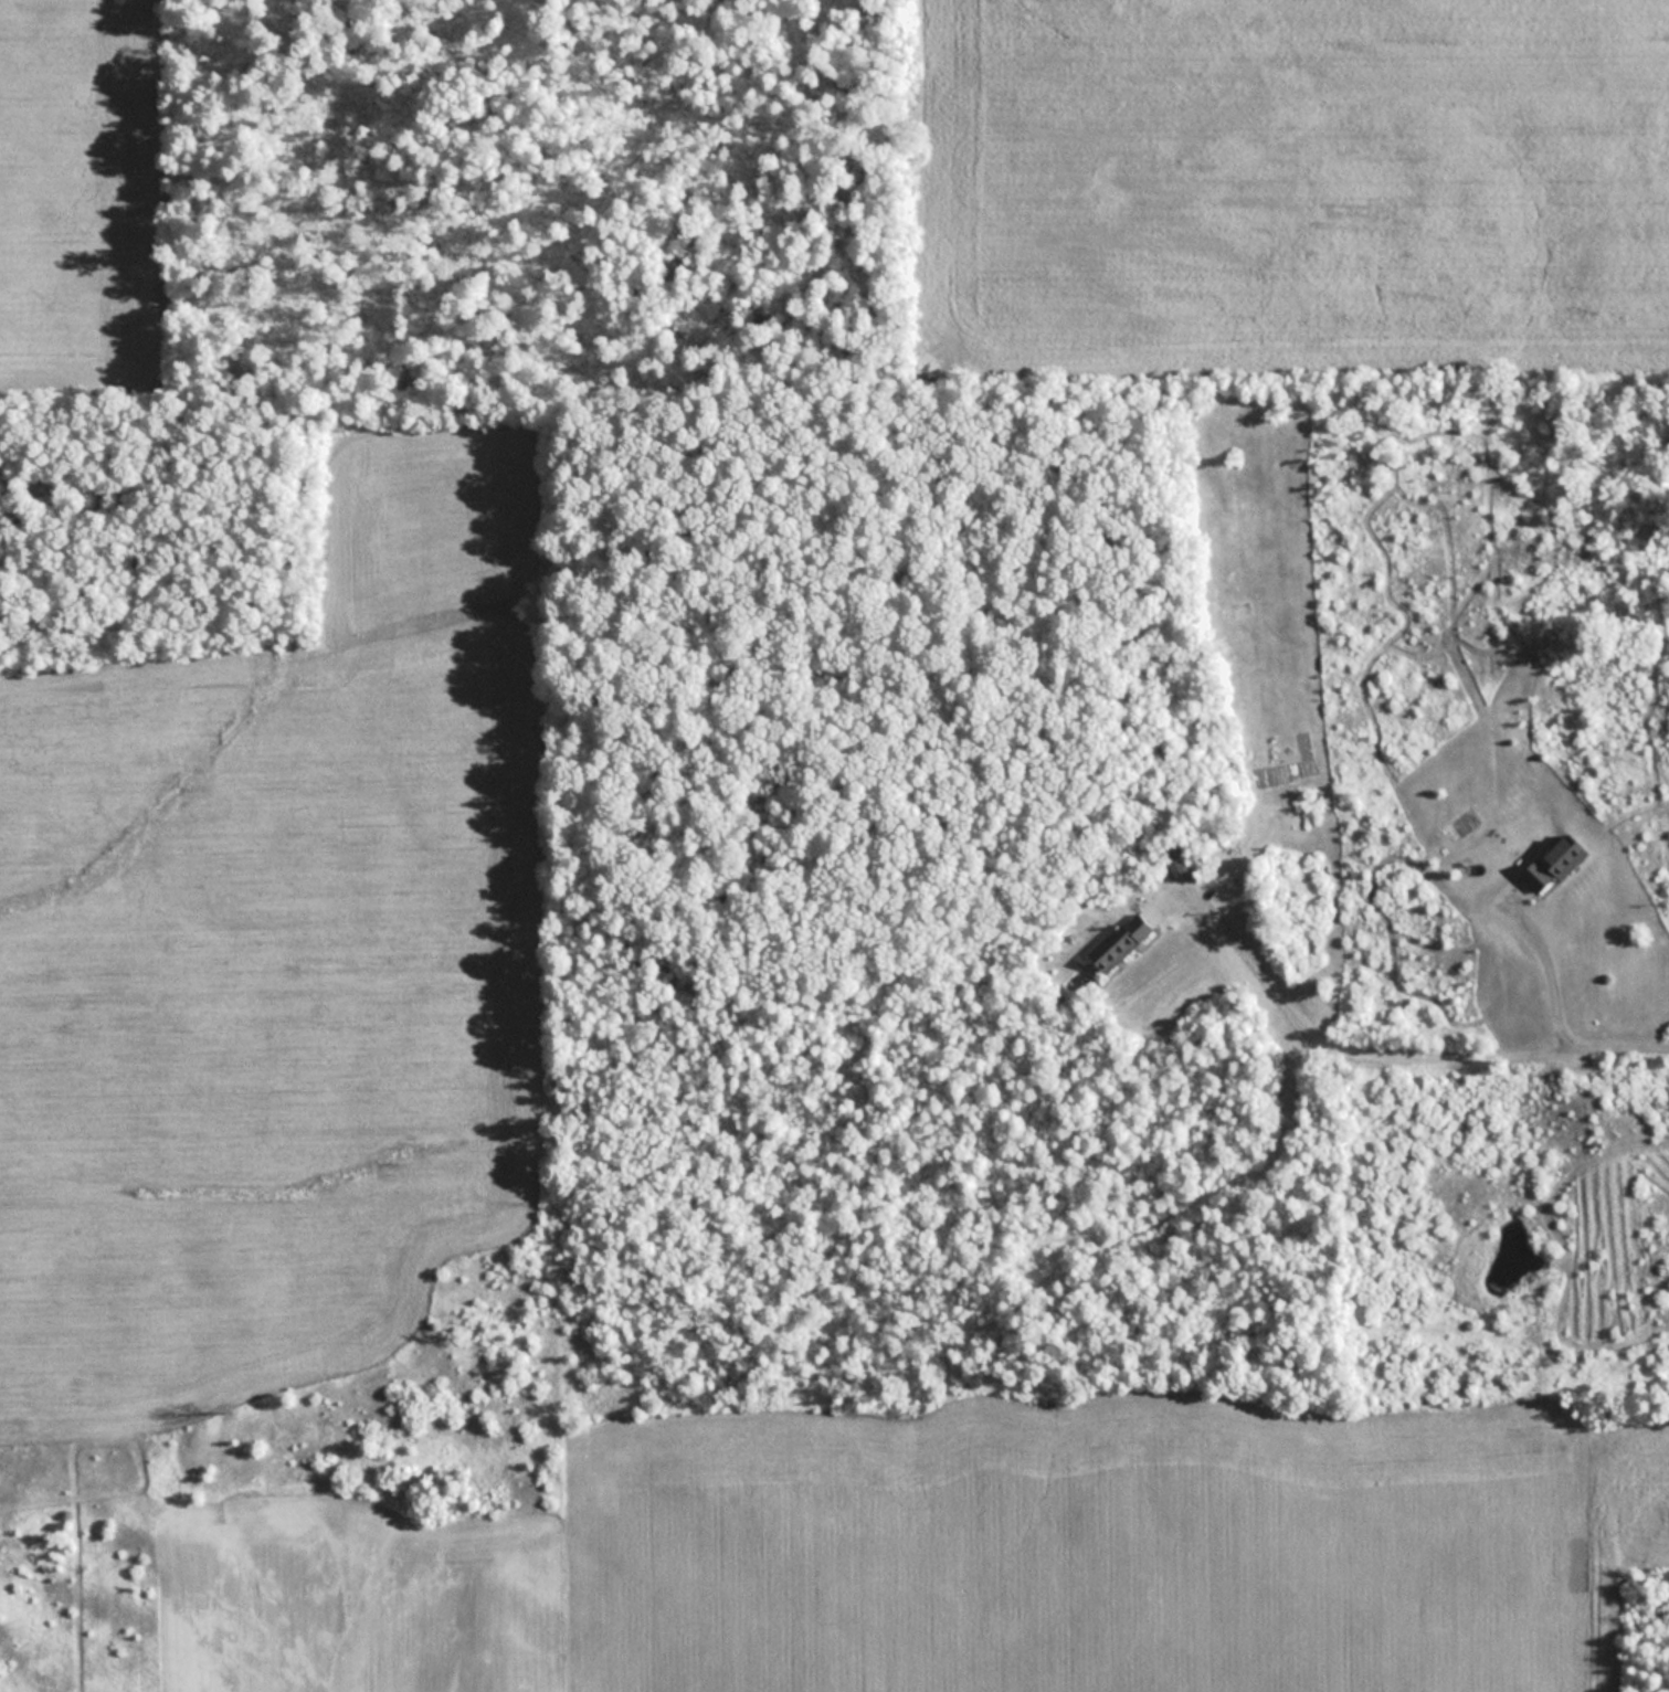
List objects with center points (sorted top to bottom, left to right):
building: (1172, 859)
building: (1555, 864)
building: (1121, 940)
road: (1553, 965)
road: (1401, 1039)

